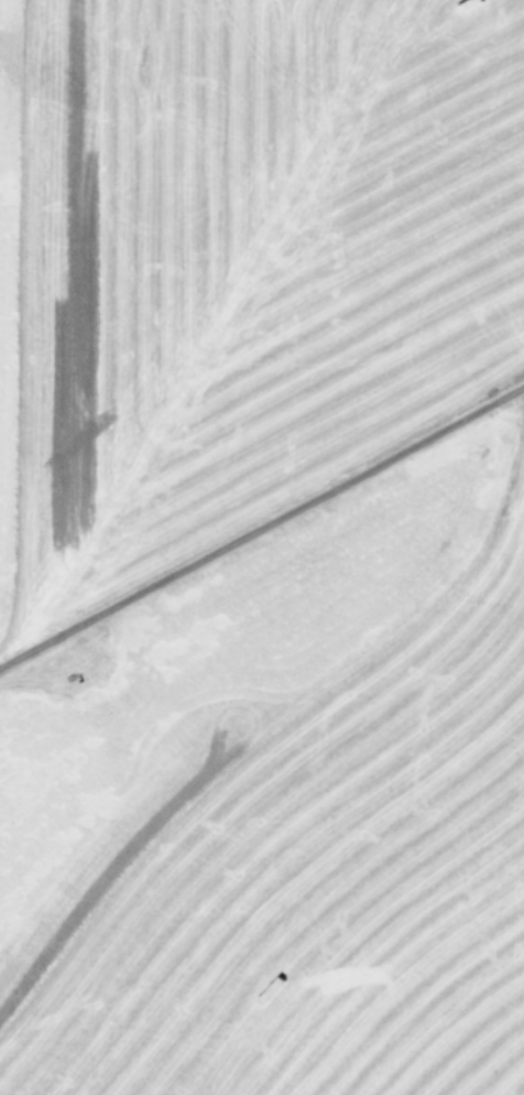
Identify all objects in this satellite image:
road: (261, 529)
crop: (262, 547)

